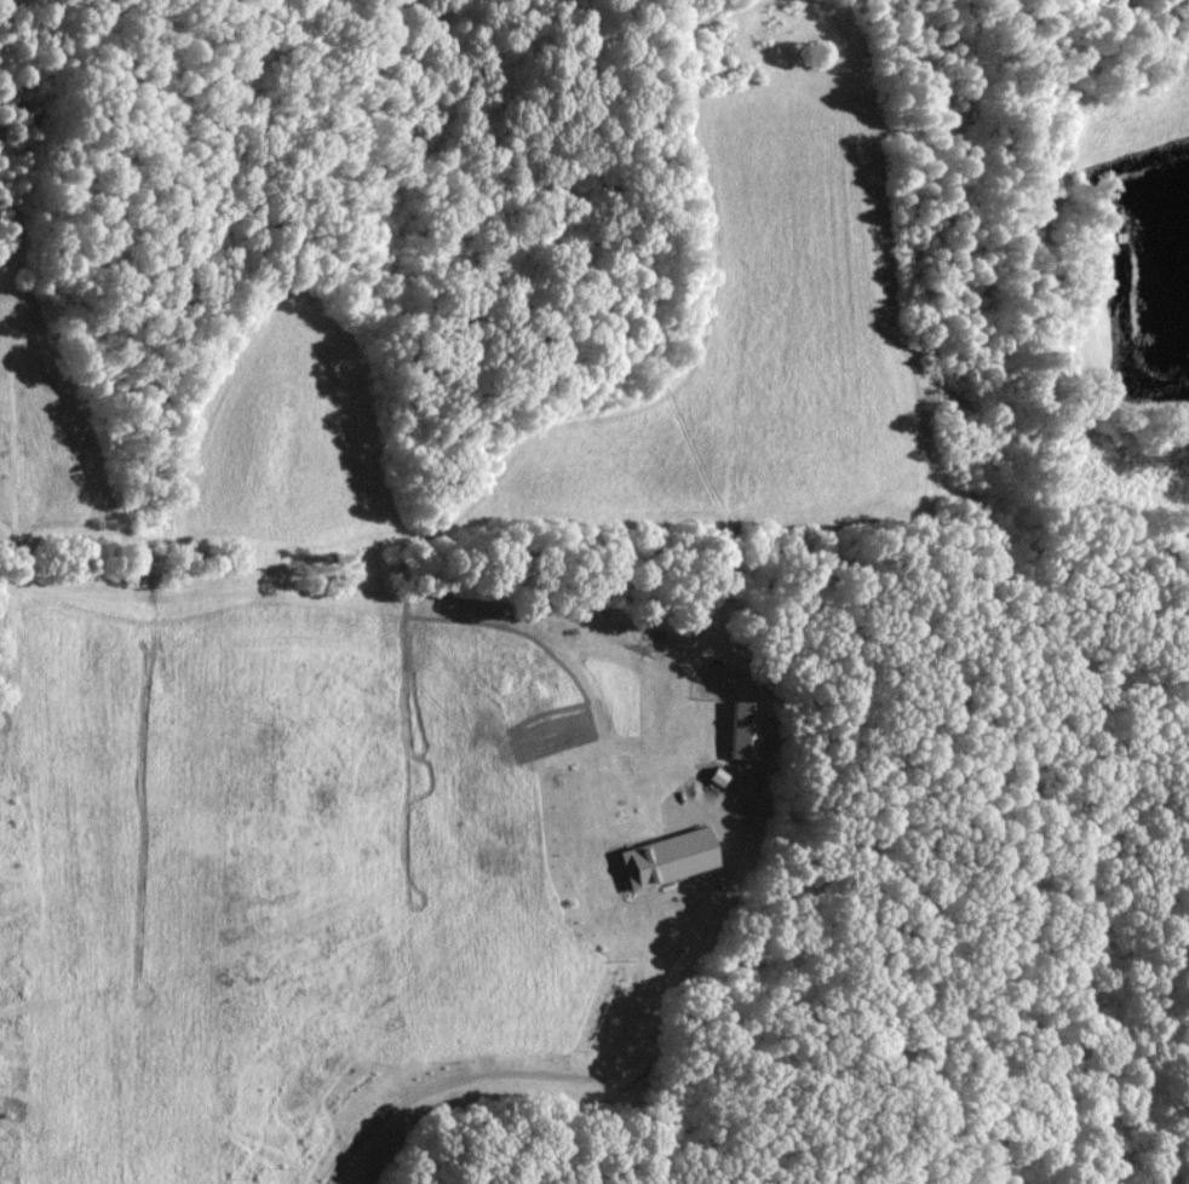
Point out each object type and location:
building: (745, 730)
building: (670, 858)

